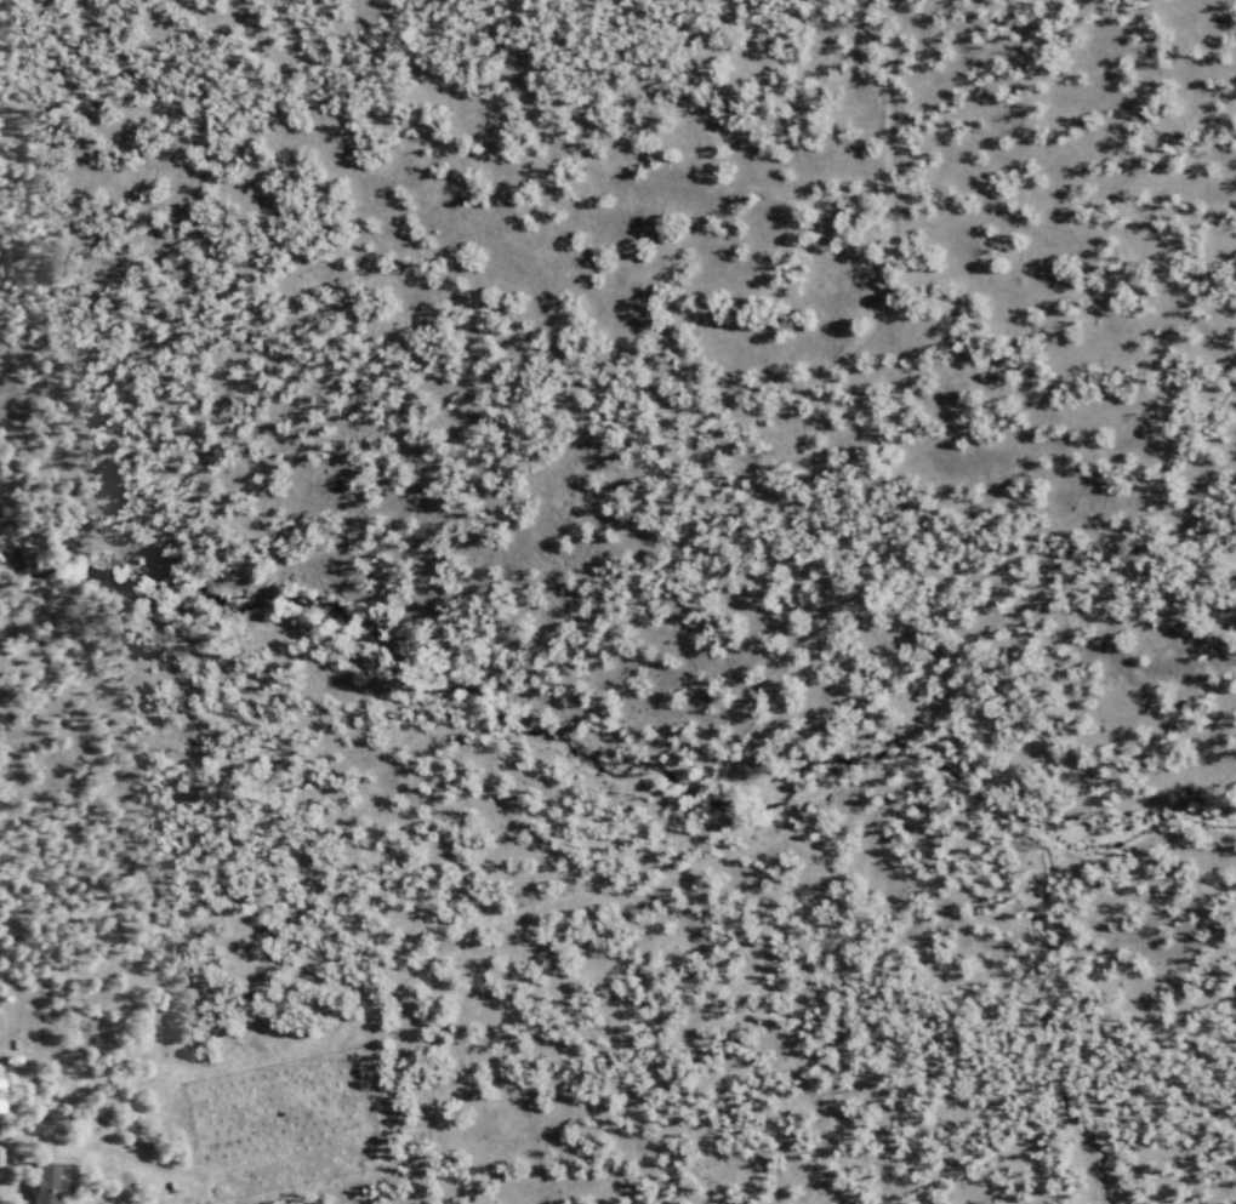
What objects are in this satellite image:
building: (1, 1095)
building: (45, 1182)

